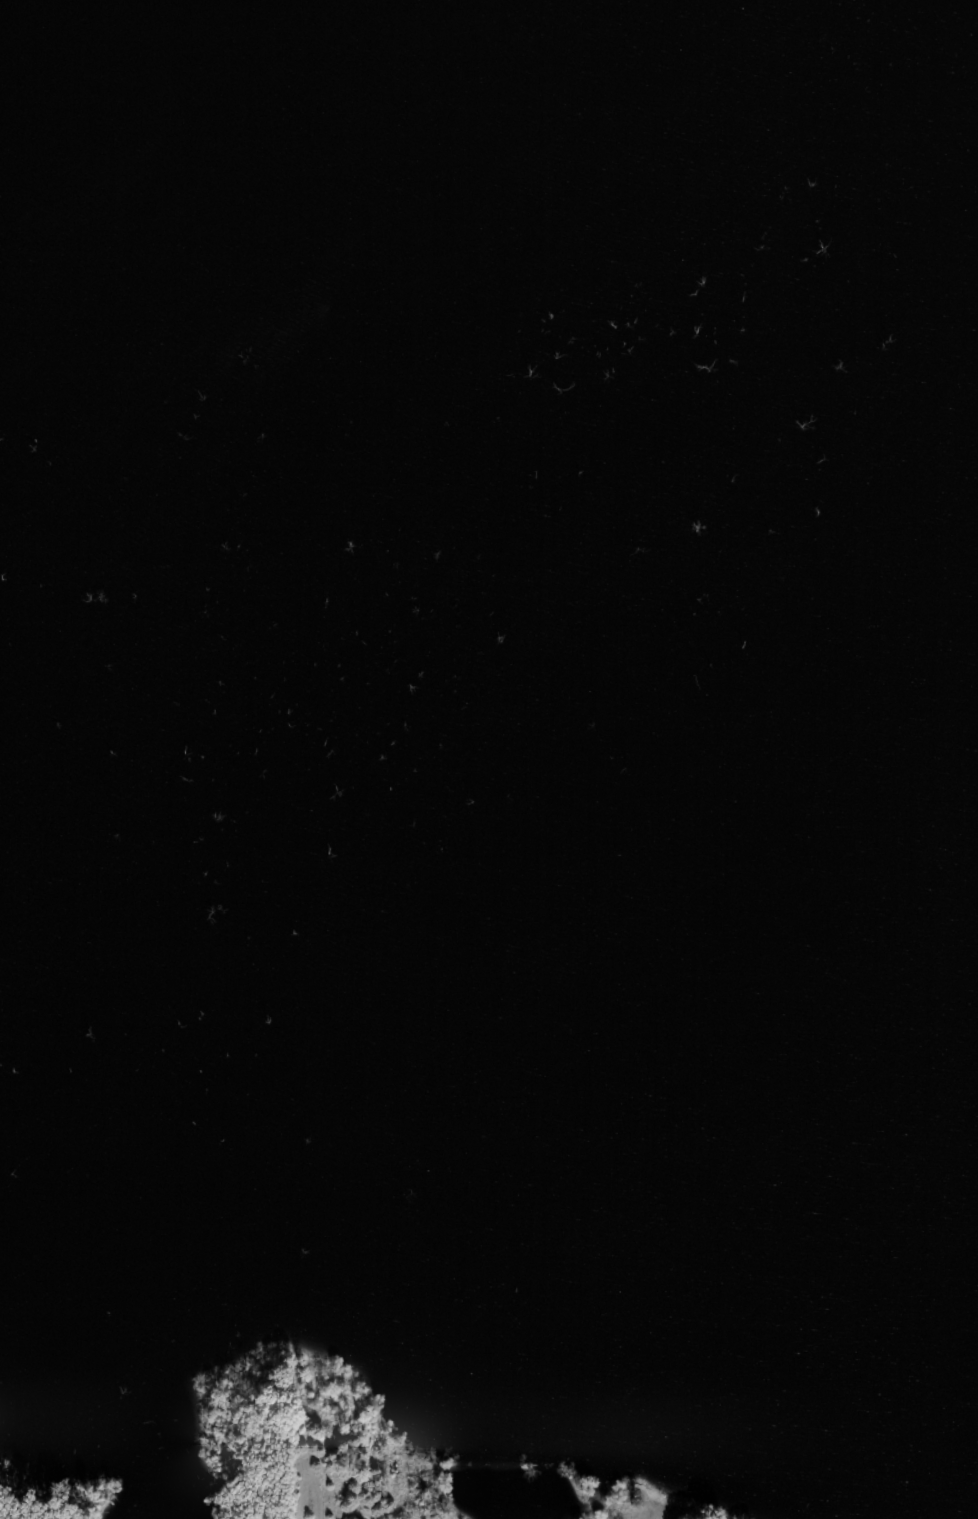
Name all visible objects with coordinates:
building: (800, 574)
building: (927, 1398)

